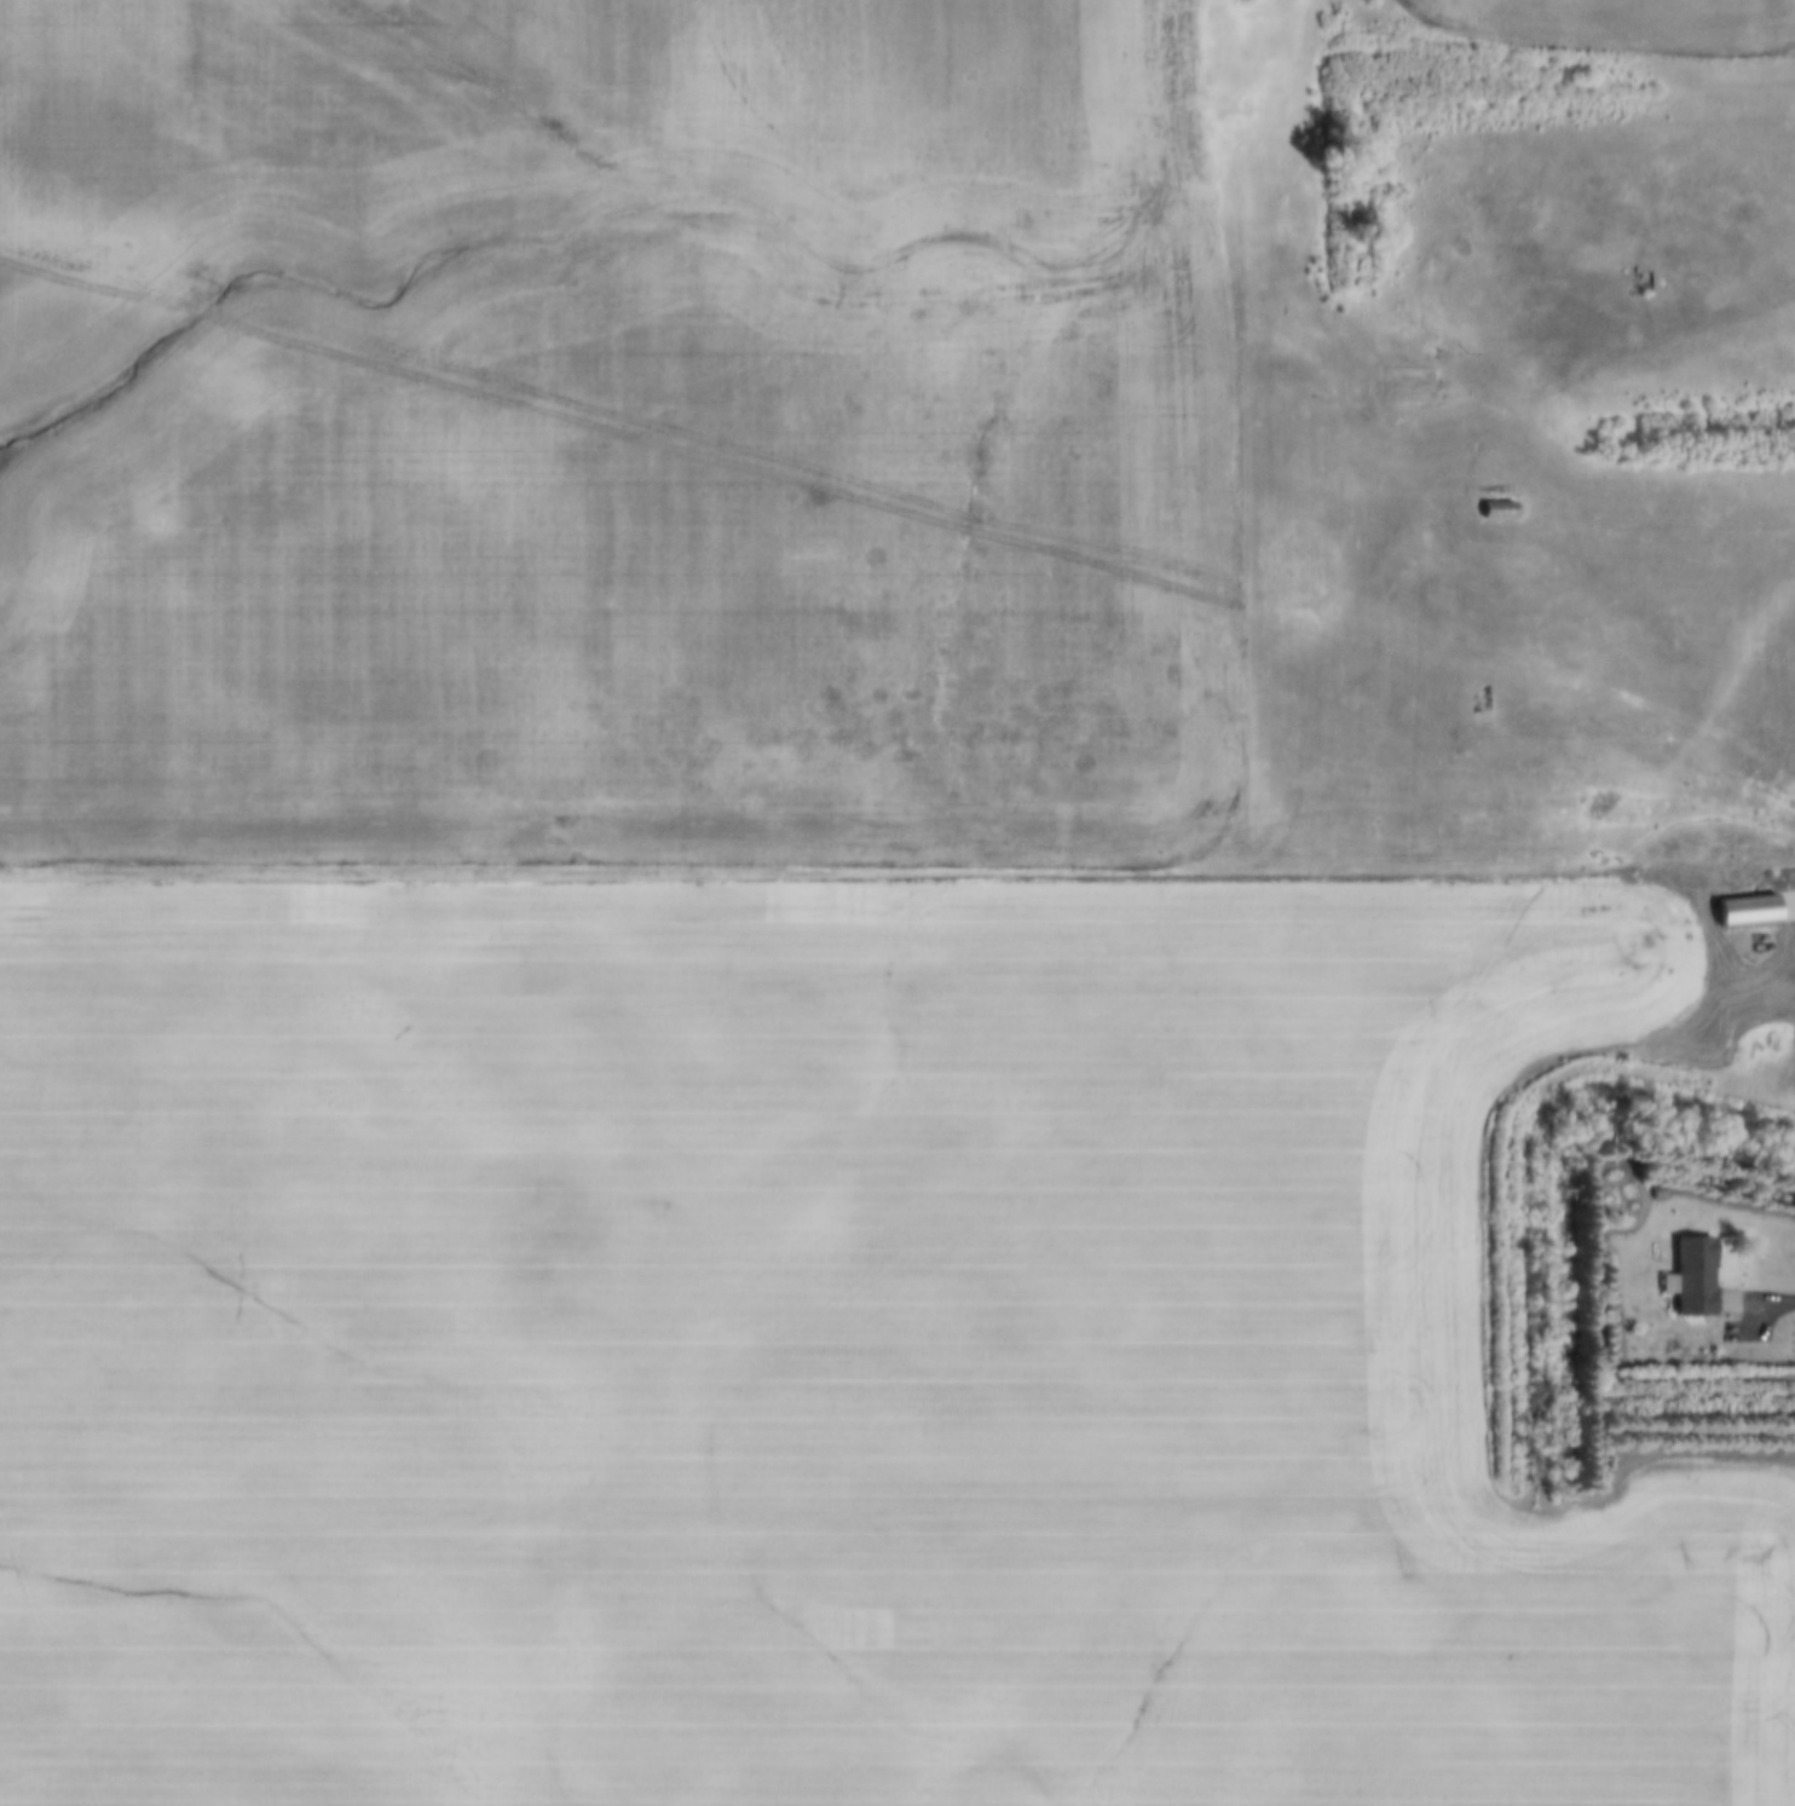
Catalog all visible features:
building: (1500, 507)
building: (1695, 1274)
road: (1754, 1293)

